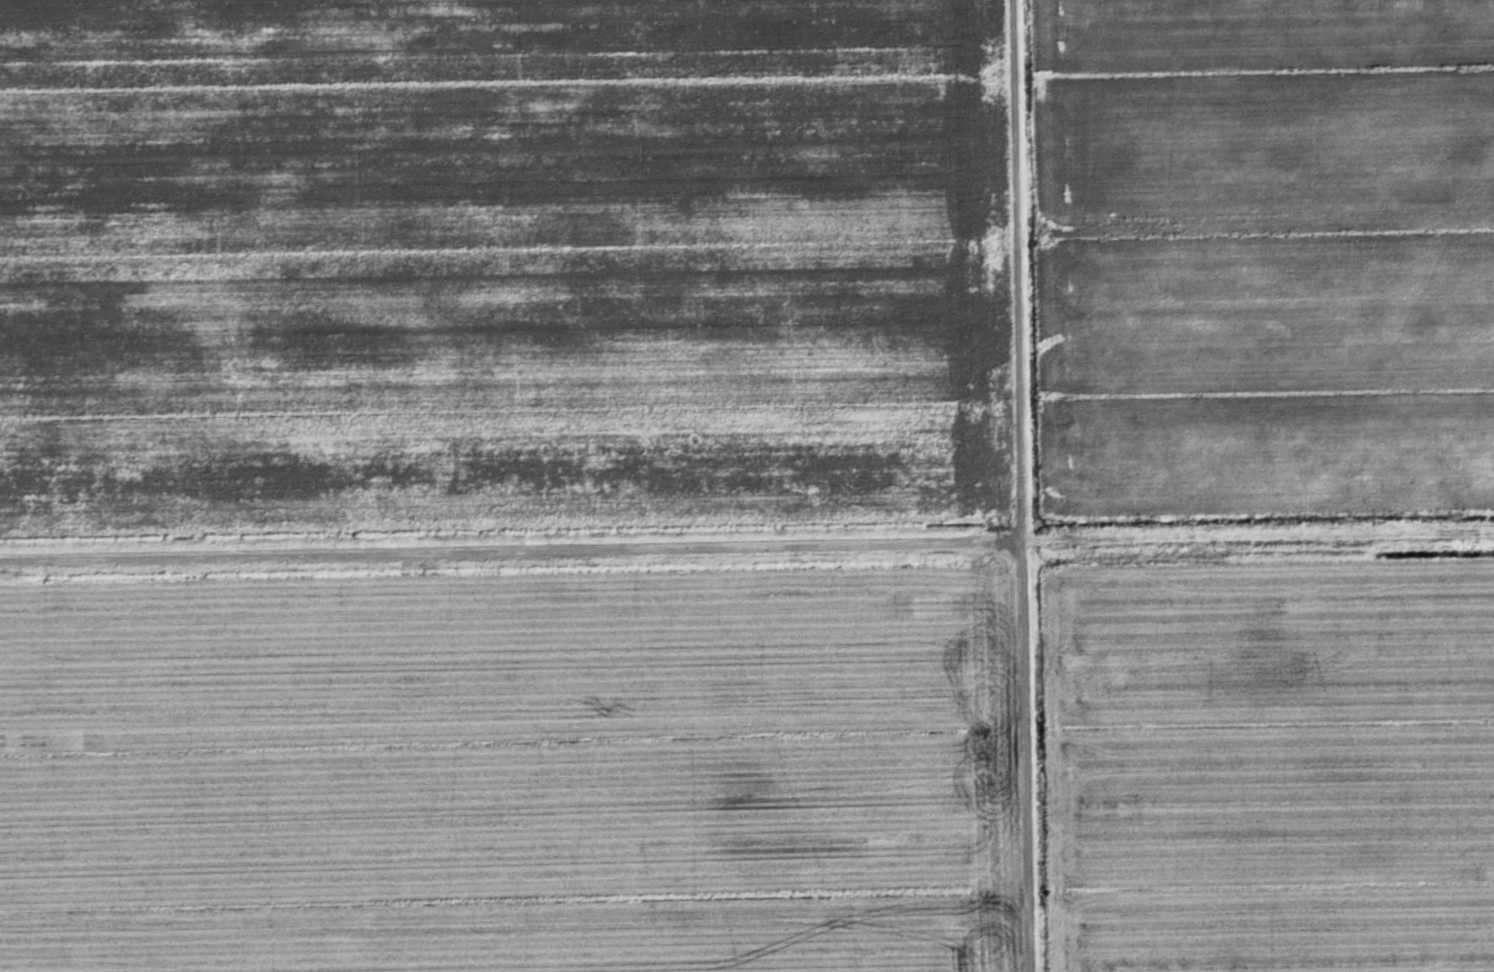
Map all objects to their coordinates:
crop: (1265, 255)
crop: (503, 264)
crop: (514, 773)

